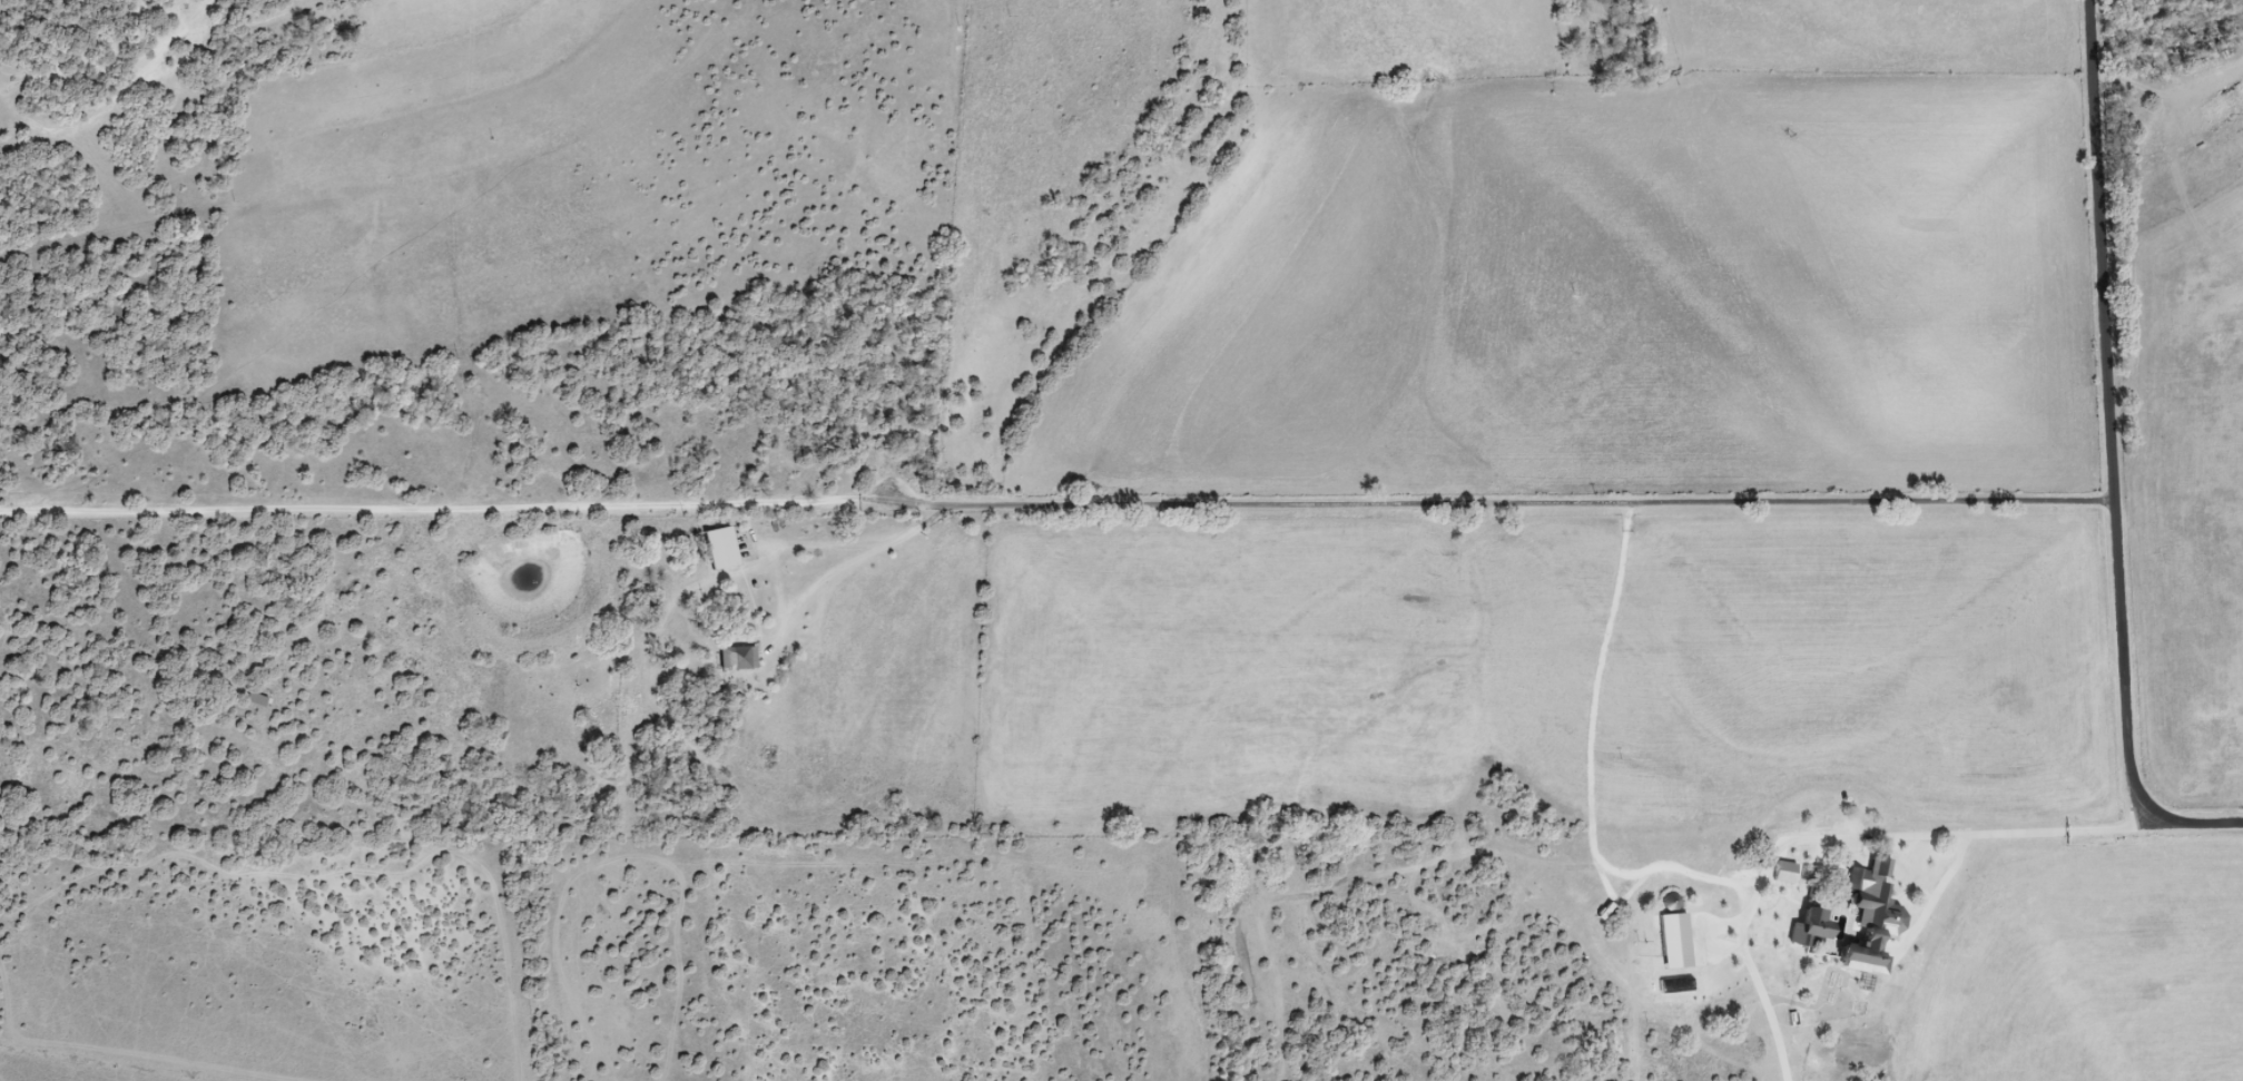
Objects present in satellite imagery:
road: (1663, 35)
road: (68, 125)
road: (2111, 458)
road: (1056, 505)
building: (719, 549)
building: (737, 659)
building: (257, 701)
road: (1996, 834)
building: (1796, 877)
building: (1862, 891)

